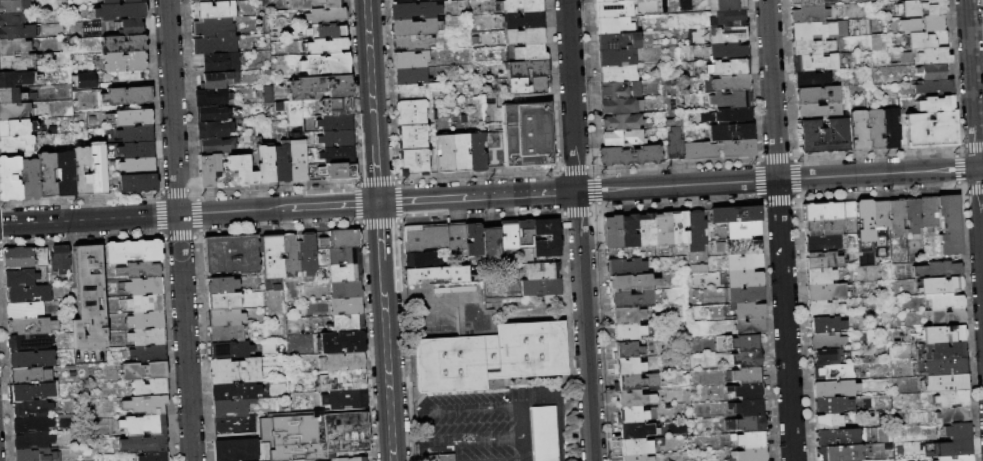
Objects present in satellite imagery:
building: (4, 0)
building: (436, 0)
building: (603, 0)
building: (625, 0)
building: (133, 1)
building: (207, 1)
building: (399, 1)
building: (110, 2)
building: (663, 2)
building: (811, 2)
building: (309, 4)
building: (518, 5)
building: (684, 5)
building: (727, 5)
building: (14, 6)
building: (613, 8)
building: (919, 8)
building: (664, 9)
building: (211, 10)
building: (414, 10)
building: (121, 12)
building: (810, 14)
building: (325, 16)
building: (729, 19)
building: (11, 20)
building: (522, 20)
building: (931, 23)
building: (614, 25)
building: (910, 25)
building: (212, 27)
building: (414, 27)
building: (132, 28)
building: (818, 30)
building: (326, 31)
building: (17, 33)
building: (855, 33)
building: (728, 35)
building: (525, 36)
building: (926, 39)
building: (618, 41)
building: (411, 43)
building: (876, 43)
building: (123, 44)
building: (214, 45)
building: (325, 46)
building: (812, 46)
building: (14, 47)
building: (729, 51)
building: (526, 52)
building: (922, 56)
building: (616, 57)
building: (410, 59)
building: (815, 62)
building: (16, 63)
building: (219, 63)
building: (126, 65)
building: (325, 65)
building: (731, 67)
building: (932, 71)
road: (370, 72)
building: (538, 72)
building: (617, 73)
building: (410, 75)
building: (813, 78)
building: (14, 79)
building: (82, 79)
building: (220, 80)
building: (732, 83)
road: (972, 84)
building: (528, 85)
building: (319, 87)
building: (934, 87)
building: (619, 90)
building: (414, 91)
building: (817, 94)
road: (572, 95)
building: (11, 96)
building: (127, 96)
building: (211, 97)
building: (731, 100)
building: (934, 104)
building: (621, 105)
building: (334, 106)
building: (818, 111)
building: (14, 112)
building: (212, 113)
building: (409, 113)
building: (729, 116)
building: (134, 118)
building: (463, 118)
building: (335, 122)
building: (622, 122)
building: (17, 128)
building: (875, 128)
building: (891, 128)
building: (213, 130)
building: (858, 130)
building: (929, 130)
building: (731, 131)
building: (136, 134)
building: (526, 134)
building: (821, 135)
building: (623, 137)
building: (335, 138)
building: (411, 138)
building: (673, 140)
building: (16, 144)
building: (216, 146)
building: (718, 149)
building: (137, 150)
building: (475, 152)
building: (459, 153)
building: (444, 154)
building: (336, 155)
building: (629, 155)
building: (297, 160)
building: (281, 162)
building: (412, 162)
building: (264, 165)
building: (138, 167)
road: (980, 167)
building: (208, 171)
building: (241, 171)
building: (337, 171)
building: (81, 172)
road: (376, 173)
building: (65, 174)
building: (47, 175)
building: (99, 177)
building: (9, 179)
building: (29, 179)
road: (777, 179)
building: (137, 183)
road: (478, 197)
traffic signals: (378, 203)
road: (334, 205)
building: (828, 210)
building: (928, 211)
building: (734, 214)
building: (880, 214)
road: (144, 215)
building: (912, 215)
building: (896, 216)
road: (980, 220)
building: (864, 222)
building: (949, 225)
building: (823, 226)
building: (678, 228)
building: (662, 229)
road: (178, 230)
building: (645, 230)
building: (743, 230)
road: (779, 230)
road: (379, 231)
building: (628, 231)
building: (612, 232)
building: (696, 232)
building: (524, 233)
building: (507, 234)
building: (433, 236)
building: (546, 237)
building: (473, 239)
building: (341, 240)
building: (490, 243)
building: (823, 243)
building: (742, 246)
building: (719, 247)
building: (134, 251)
building: (308, 254)
building: (231, 255)
building: (292, 255)
building: (345, 256)
building: (41, 257)
building: (18, 258)
building: (60, 259)
building: (420, 260)
building: (822, 260)
building: (743, 262)
building: (272, 264)
building: (624, 267)
building: (699, 268)
building: (542, 270)
building: (937, 270)
building: (140, 271)
building: (345, 273)
building: (435, 275)
building: (820, 276)
building: (21, 278)
building: (745, 278)
building: (631, 282)
building: (221, 285)
building: (939, 285)
building: (143, 287)
building: (541, 287)
building: (292, 289)
building: (346, 289)
building: (827, 291)
road: (433, 293)
building: (28, 294)
building: (745, 294)
building: (547, 297)
building: (89, 299)
building: (630, 299)
building: (944, 301)
building: (226, 302)
road: (541, 302)
building: (146, 304)
building: (347, 307)
building: (825, 309)
building: (748, 310)
building: (25, 311)
road: (549, 312)
building: (627, 315)
road: (561, 316)
building: (945, 317)
building: (226, 318)
building: (147, 321)
building: (347, 324)
building: (826, 325)
building: (33, 326)
road: (585, 326)
building: (750, 326)
building: (628, 331)
building: (917, 332)
building: (227, 334)
building: (941, 334)
building: (149, 337)
building: (827, 341)
building: (343, 342)
building: (736, 342)
building: (29, 343)
road: (562, 347)
building: (230, 349)
building: (627, 350)
building: (939, 351)
building: (149, 354)
building: (491, 357)
building: (827, 357)
building: (746, 358)
building: (32, 359)
road: (387, 360)
building: (343, 362)
building: (629, 366)
building: (941, 367)
building: (145, 371)
building: (235, 371)
building: (833, 372)
building: (747, 375)
building: (31, 376)
road: (564, 376)
road: (579, 377)
road: (529, 379)
building: (345, 380)
building: (635, 382)
building: (495, 383)
building: (943, 383)
building: (150, 388)
building: (834, 388)
building: (236, 391)
building: (746, 391)
building: (28, 392)
road: (509, 393)
road: (529, 396)
building: (633, 399)
building: (951, 399)
building: (345, 400)
building: (831, 404)
building: (146, 405)
road: (485, 406)
building: (232, 407)
building: (747, 407)
building: (32, 409)
building: (635, 414)
building: (951, 415)
parking lot: (482, 422)
building: (828, 422)
building: (746, 424)
building: (33, 425)
building: (143, 426)
building: (633, 430)
building: (955, 431)
building: (543, 433)
building: (862, 434)
building: (319, 437)
road: (473, 438)
building: (836, 438)
building: (749, 439)
building: (33, 441)
road: (408, 442)
building: (144, 444)
building: (635, 447)
building: (957, 447)
building: (237, 450)
road: (457, 450)
building: (845, 452)
building: (38, 455)
building: (749, 455)
building: (154, 457)
building: (435, 457)
road: (494, 458)
building: (636, 458)
building: (955, 458)
building: (353, 459)

